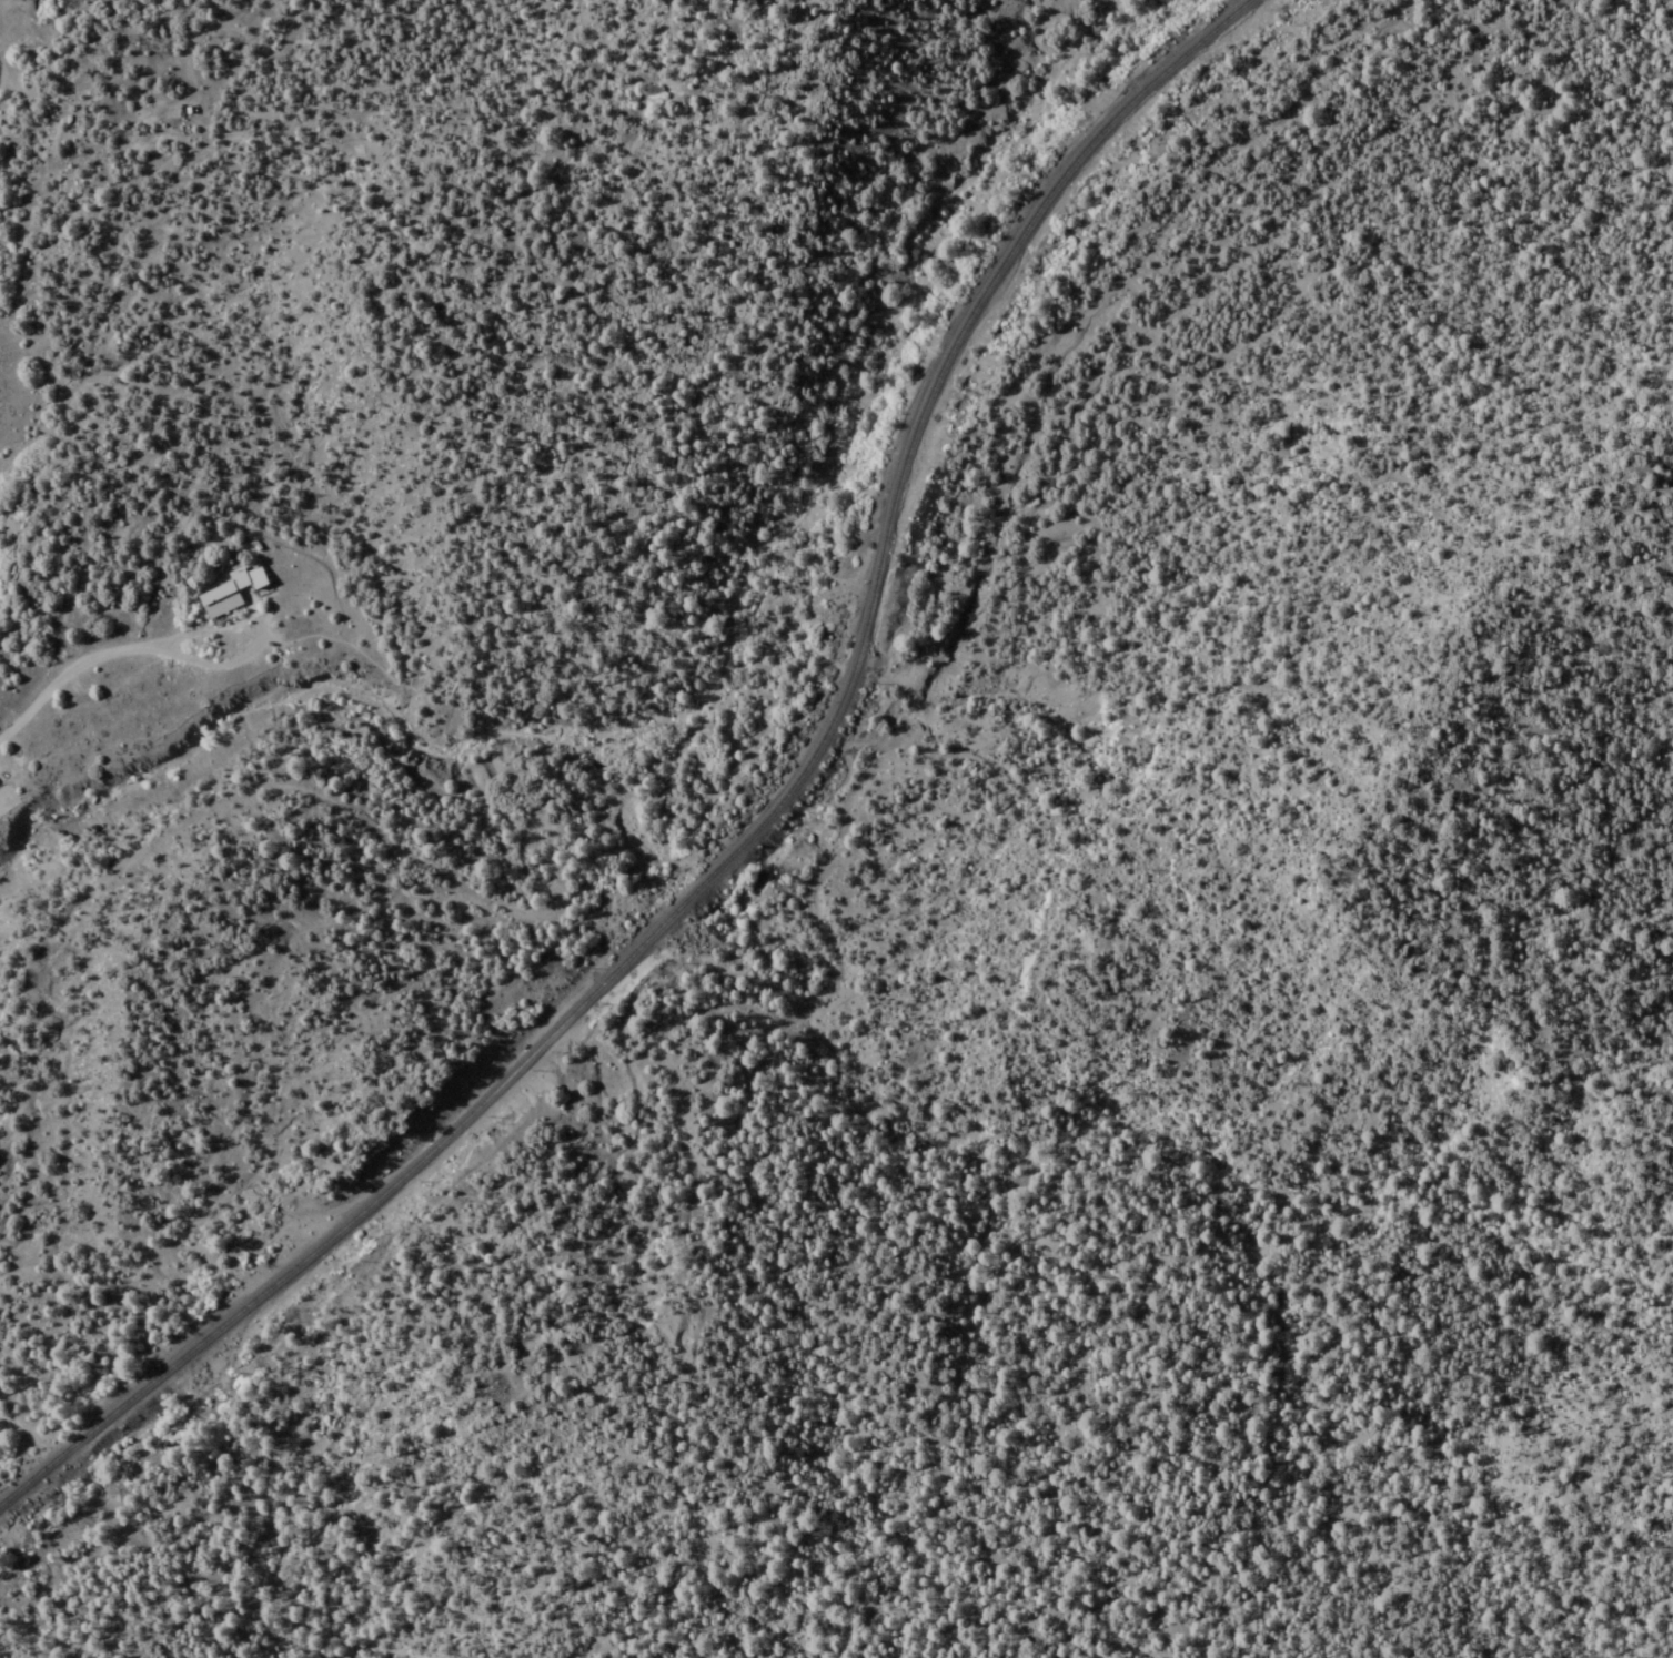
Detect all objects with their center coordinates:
building: (724, 0)
building: (230, 593)
railway: (745, 839)
building: (290, 1273)

